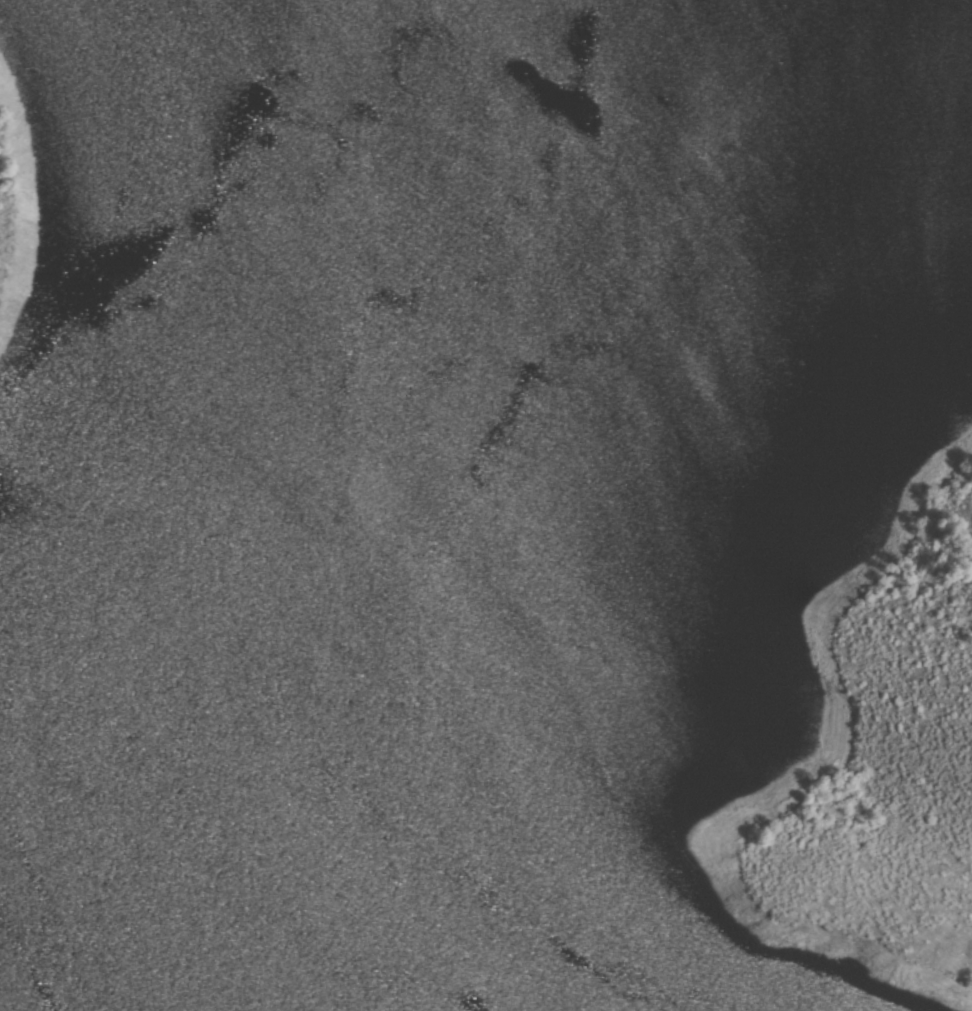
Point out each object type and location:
river: (368, 480)

